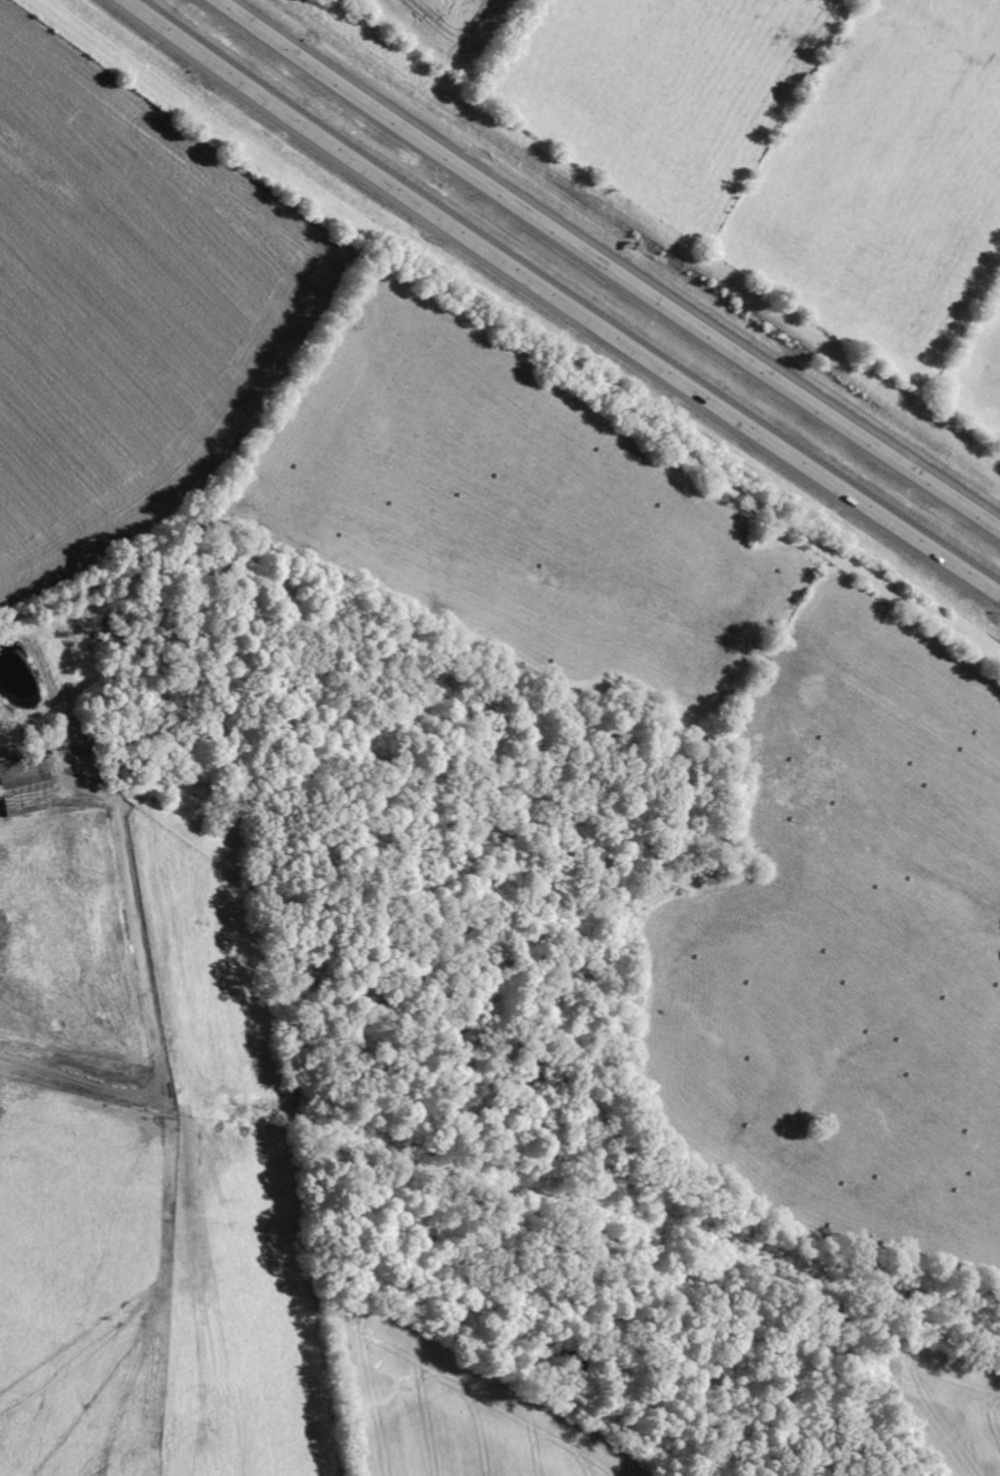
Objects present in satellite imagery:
road: (609, 265)
road: (560, 301)
building: (24, 788)
road: (126, 999)

